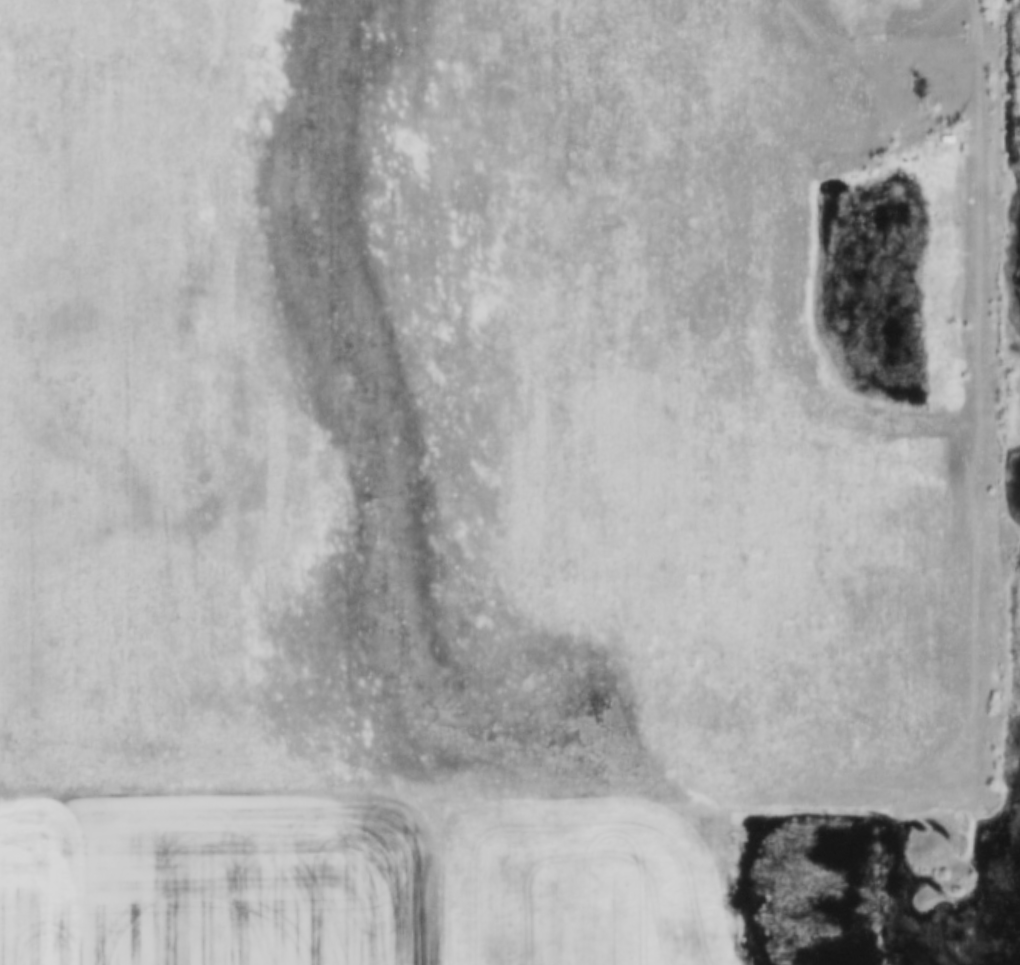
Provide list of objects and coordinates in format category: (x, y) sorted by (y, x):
quarry: (1002, 209)

